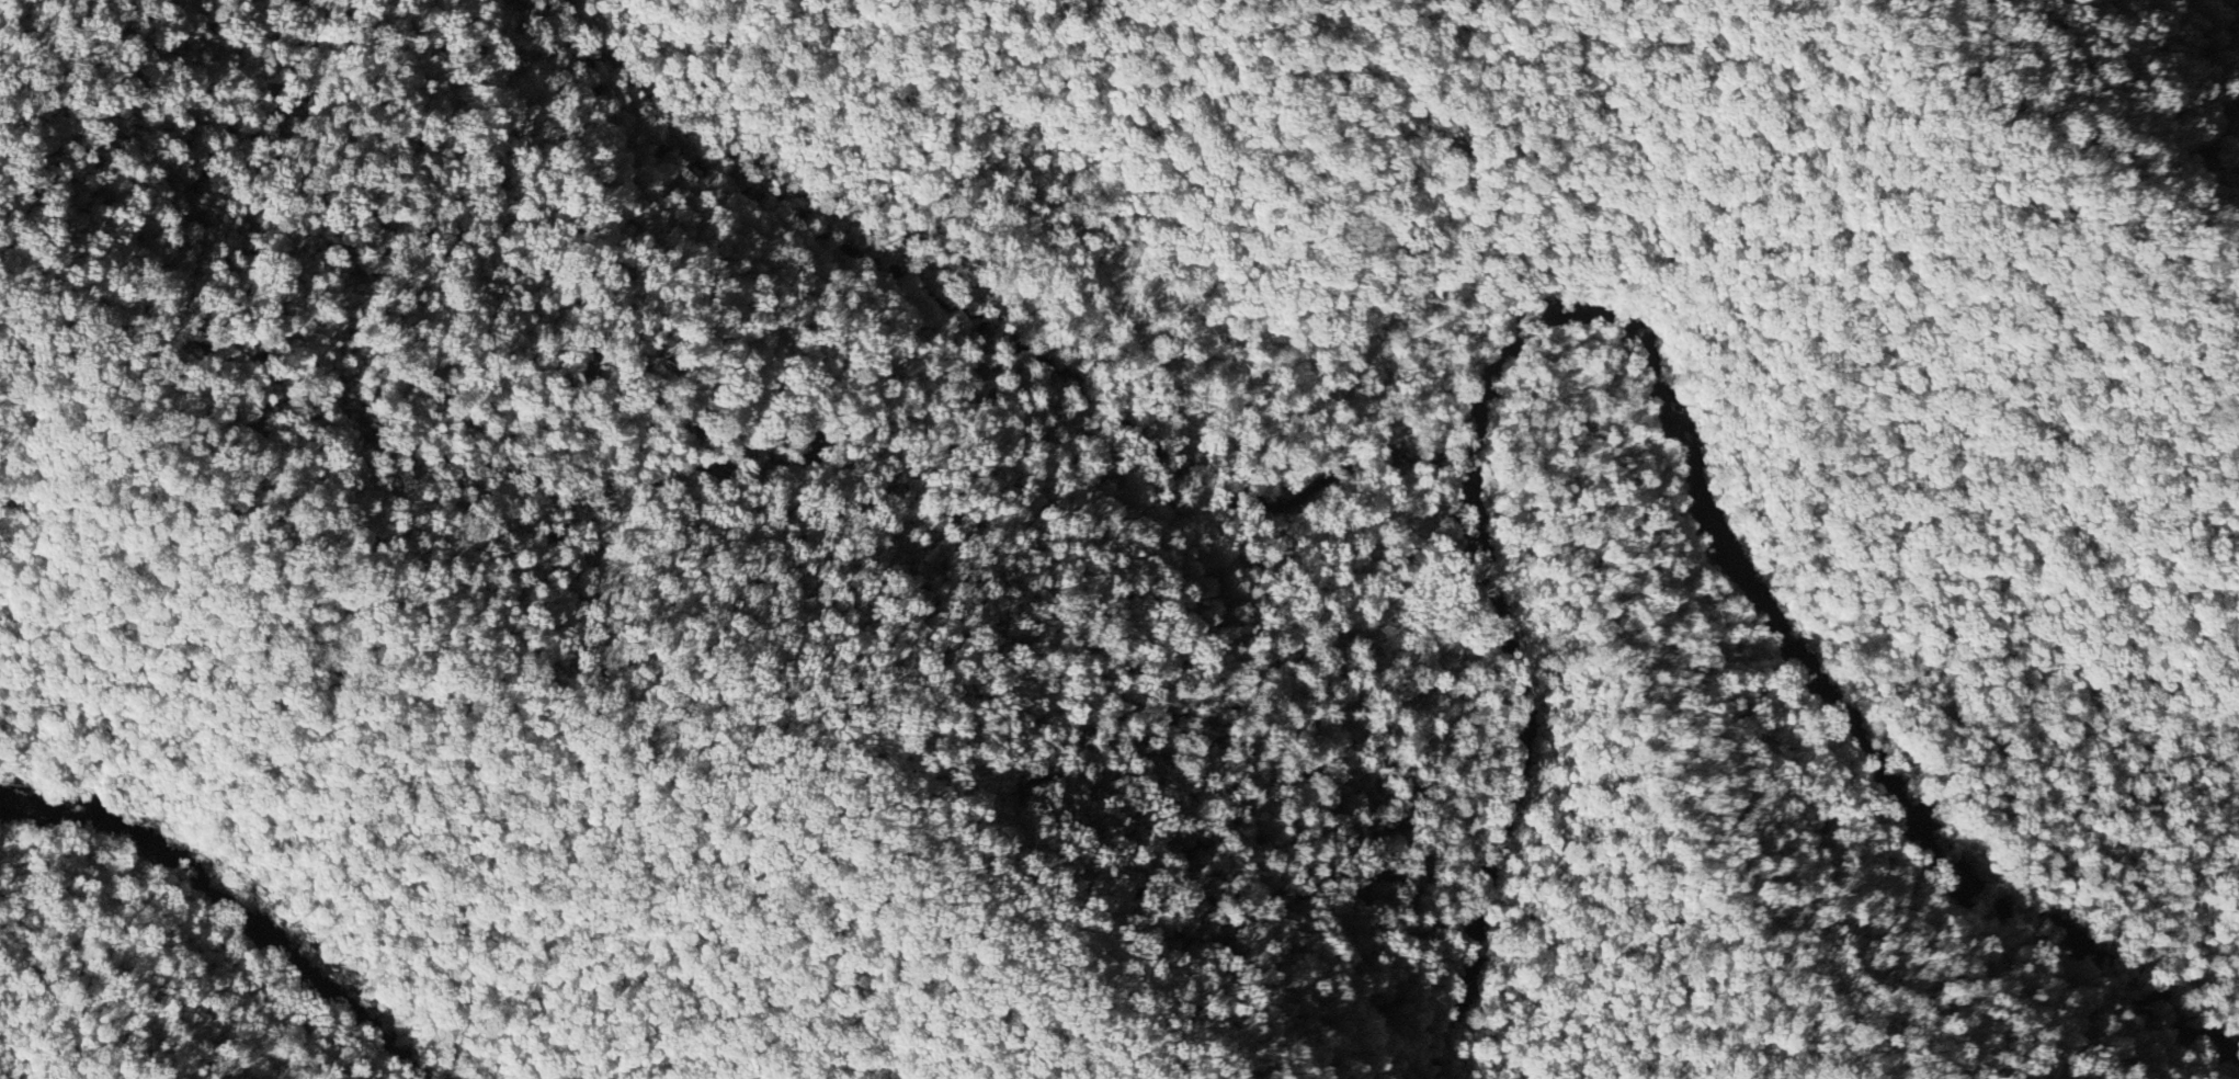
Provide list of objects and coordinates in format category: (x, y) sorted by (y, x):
road: (1182, 412)
road: (1496, 582)
road: (1408, 612)
river: (1781, 629)
road: (1649, 764)
river: (1519, 793)
river: (231, 898)
road: (156, 977)

